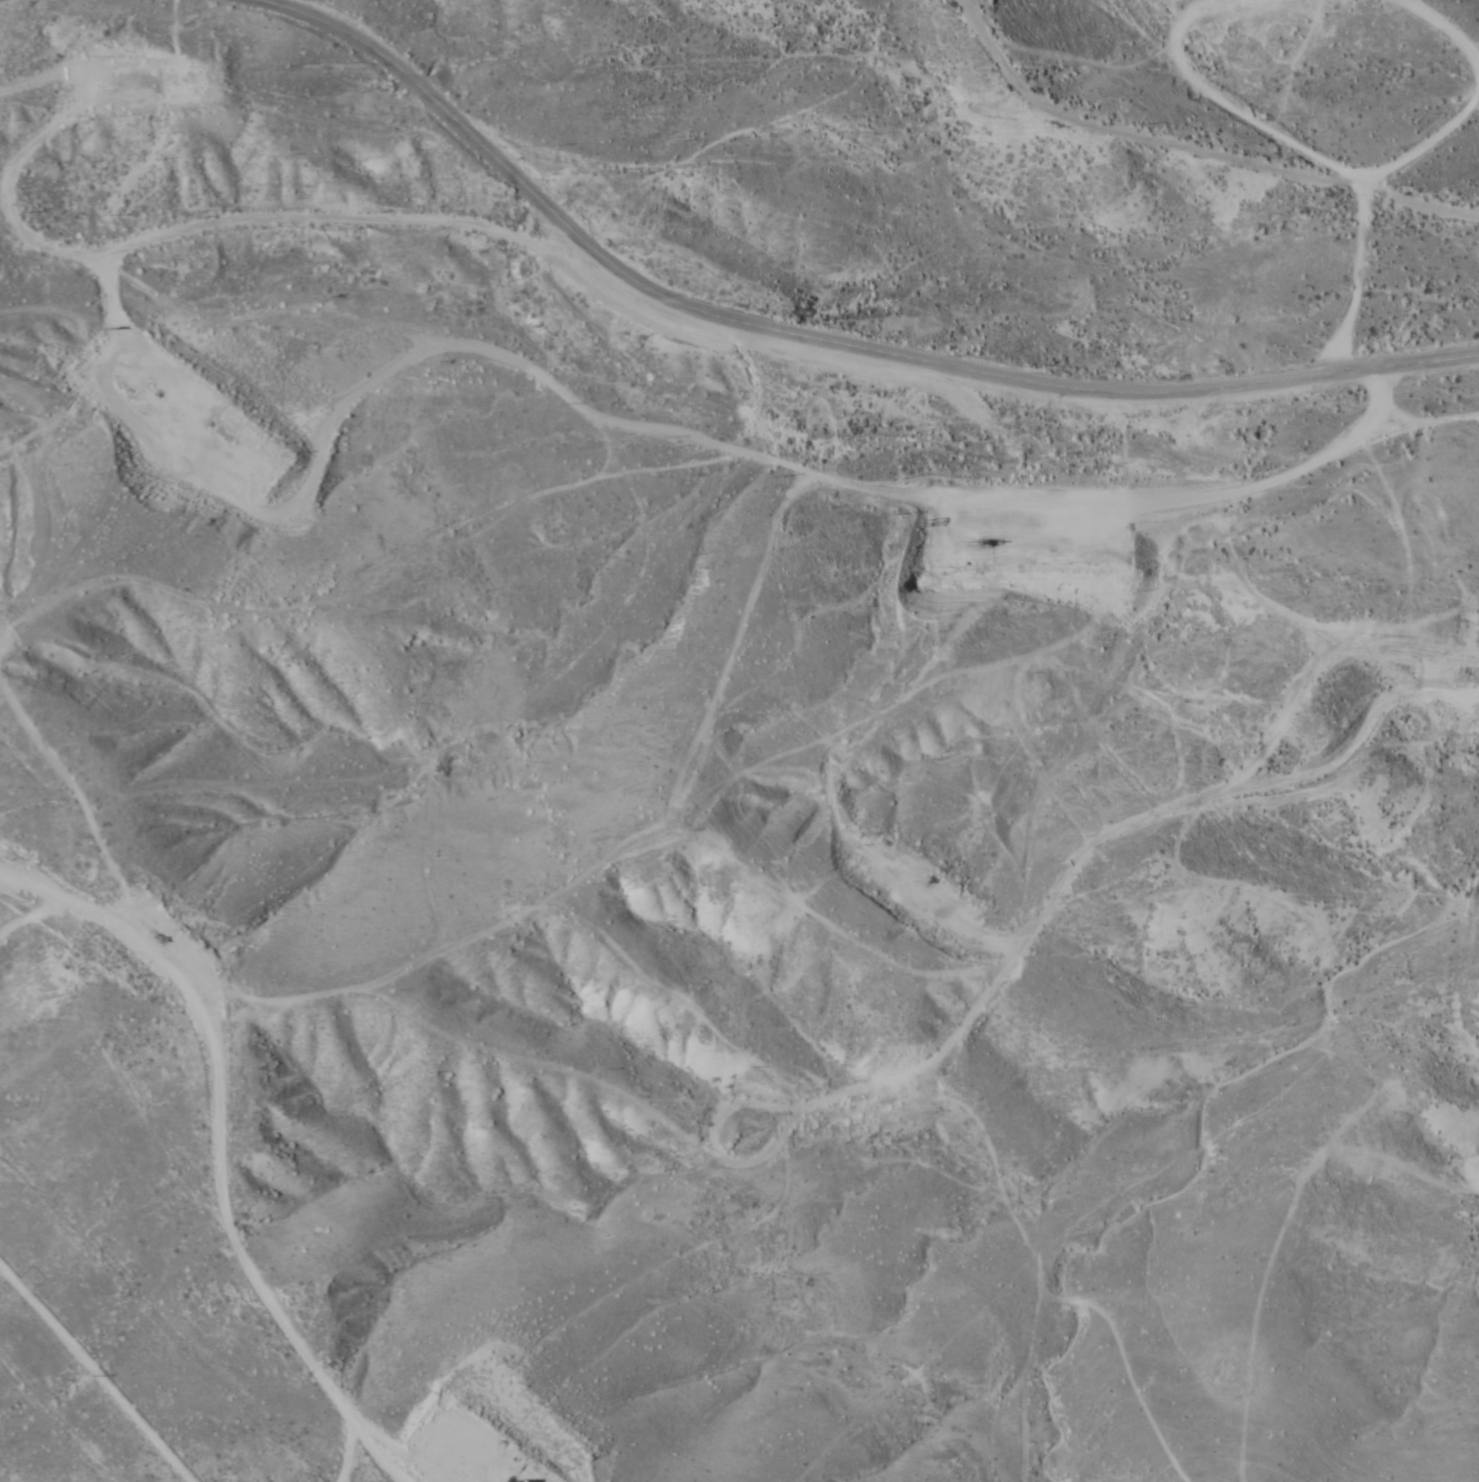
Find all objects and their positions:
petroleum well: (161, 83)
road: (1165, 168)
road: (821, 336)

